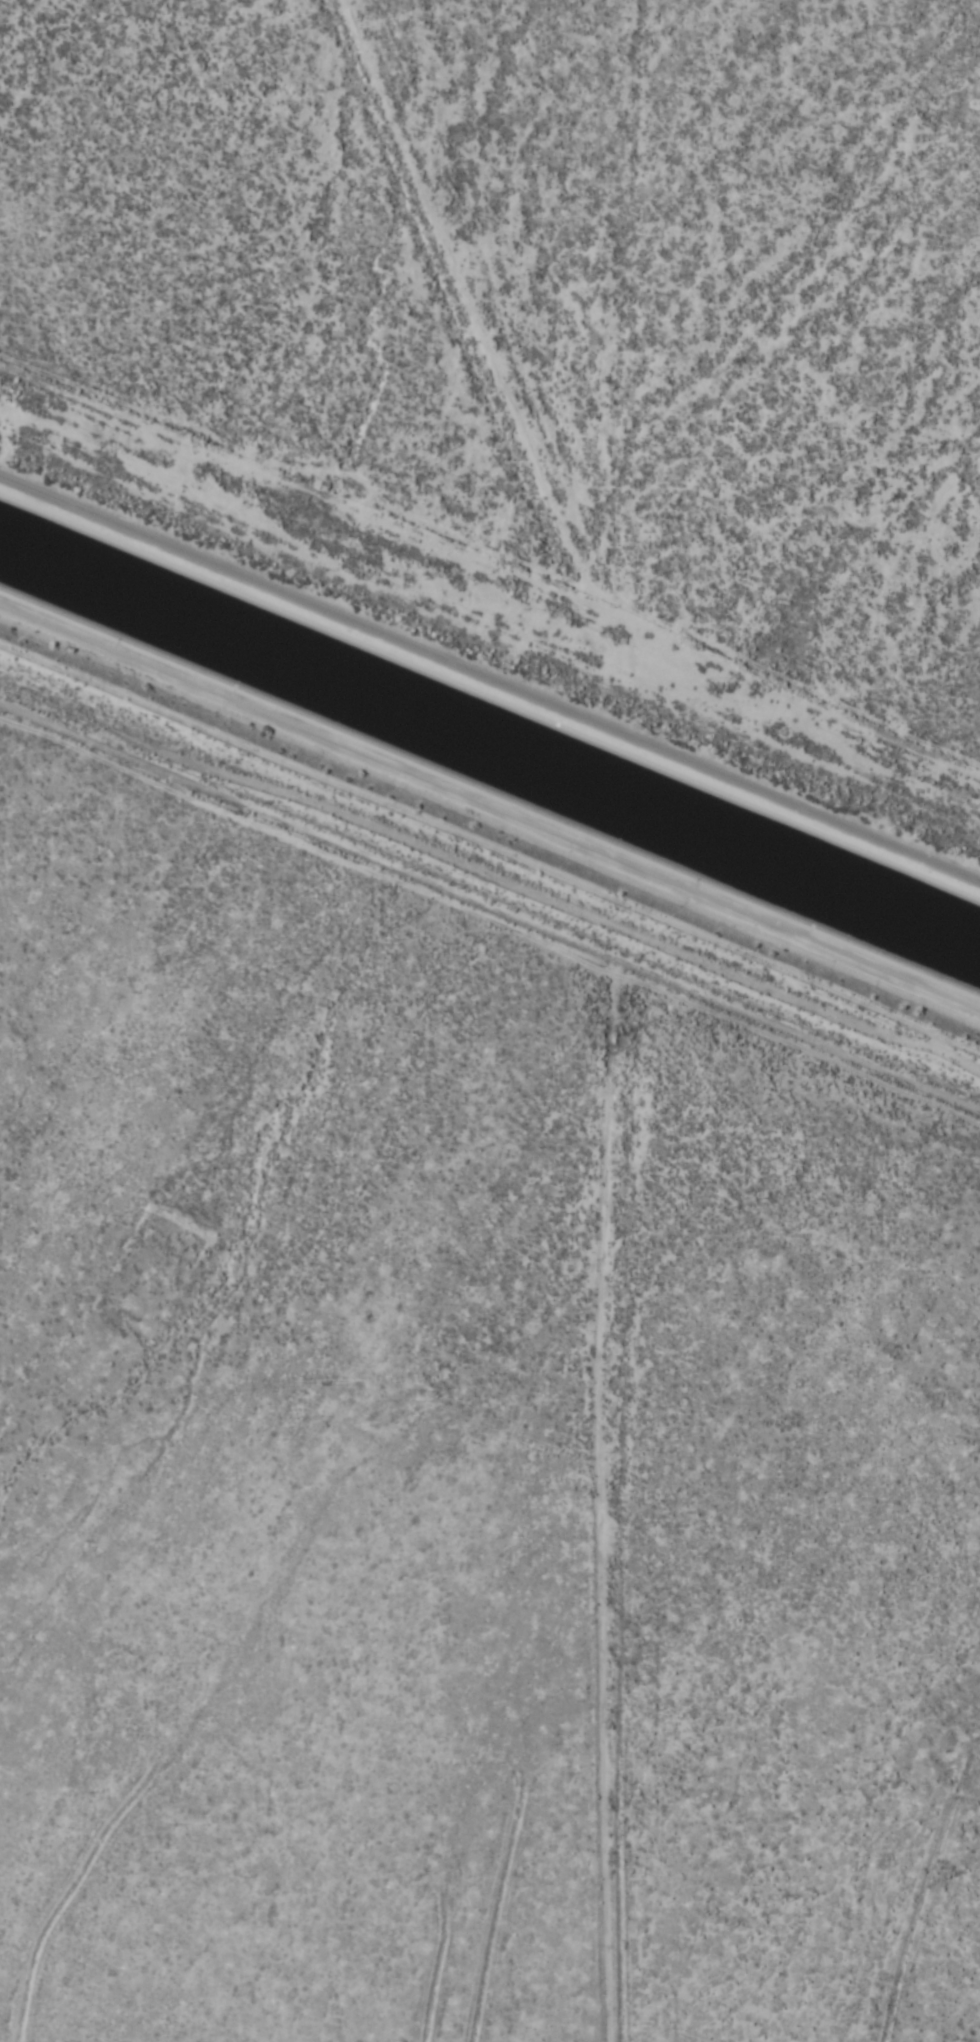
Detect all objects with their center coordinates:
crop: (542, 296)
road: (529, 356)
road: (489, 687)
road: (488, 876)
road: (615, 1484)

